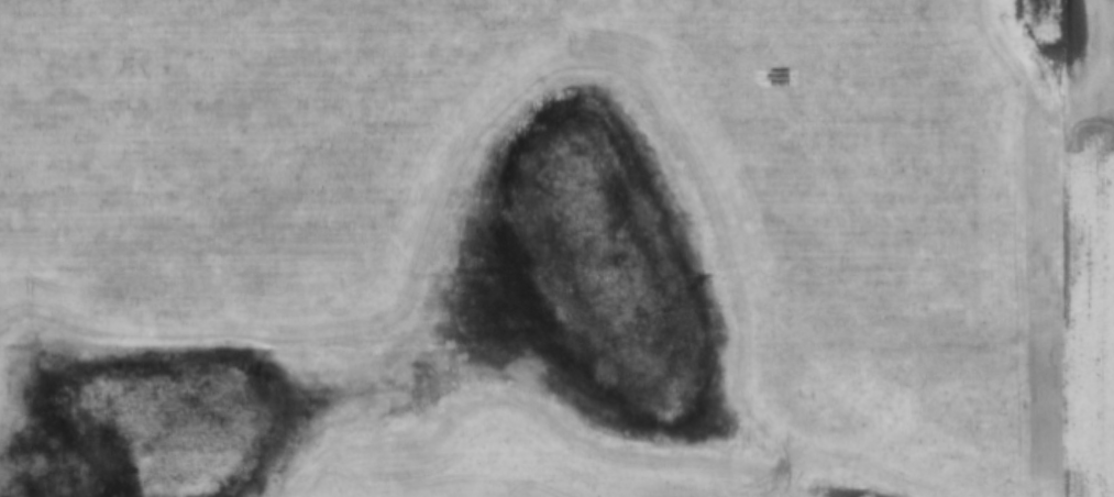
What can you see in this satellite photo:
road: (1054, 240)

